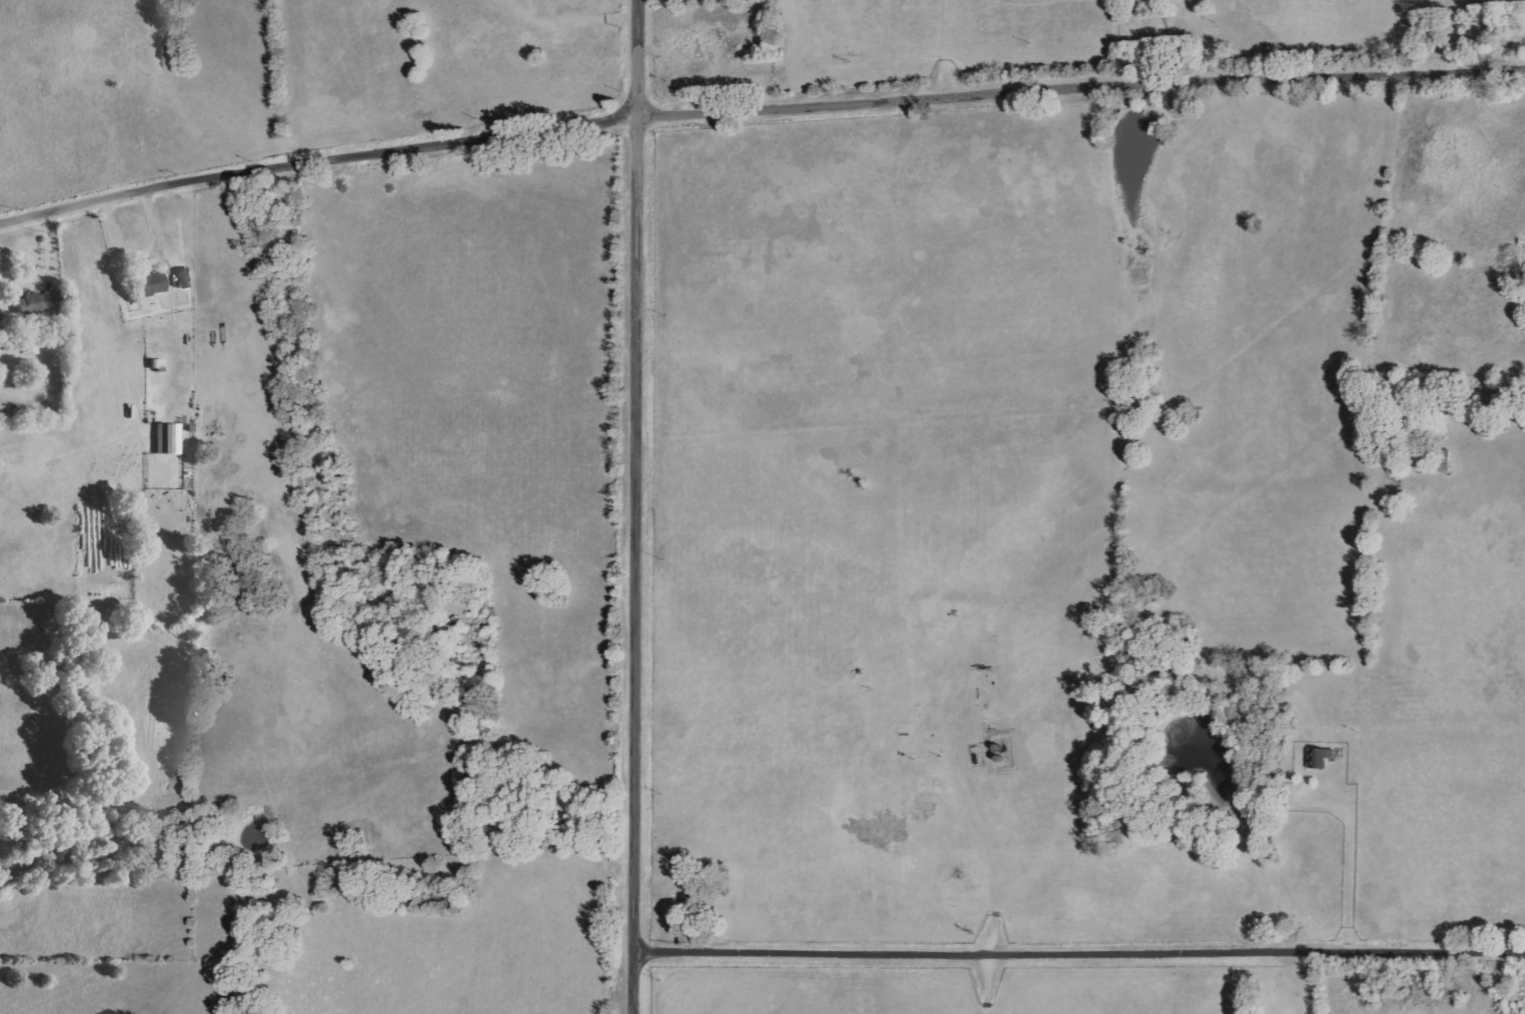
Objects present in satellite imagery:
power tower: (1213, 22)
power tower: (847, 60)
power tower: (663, 79)
road: (1080, 85)
road: (316, 159)
building: (187, 277)
building: (154, 283)
building: (38, 302)
building: (170, 438)
road: (638, 506)
road: (1082, 964)

